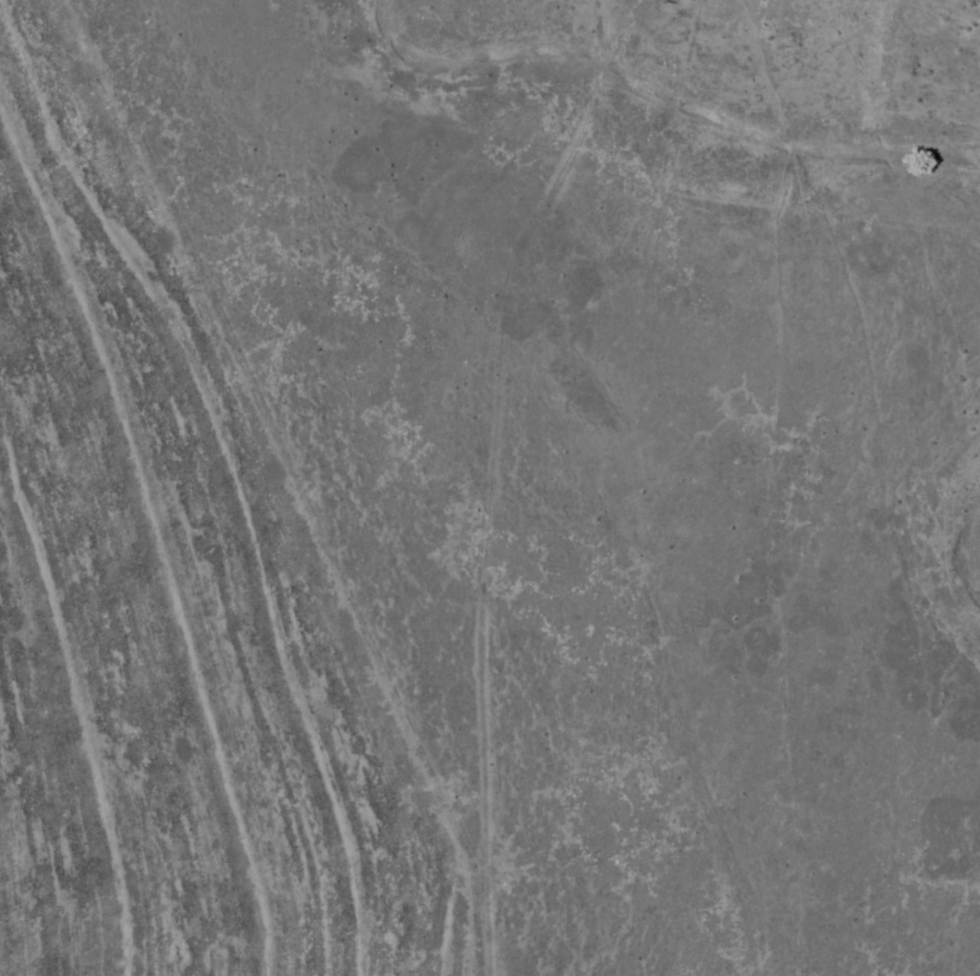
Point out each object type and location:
road: (848, 58)
road: (600, 485)

